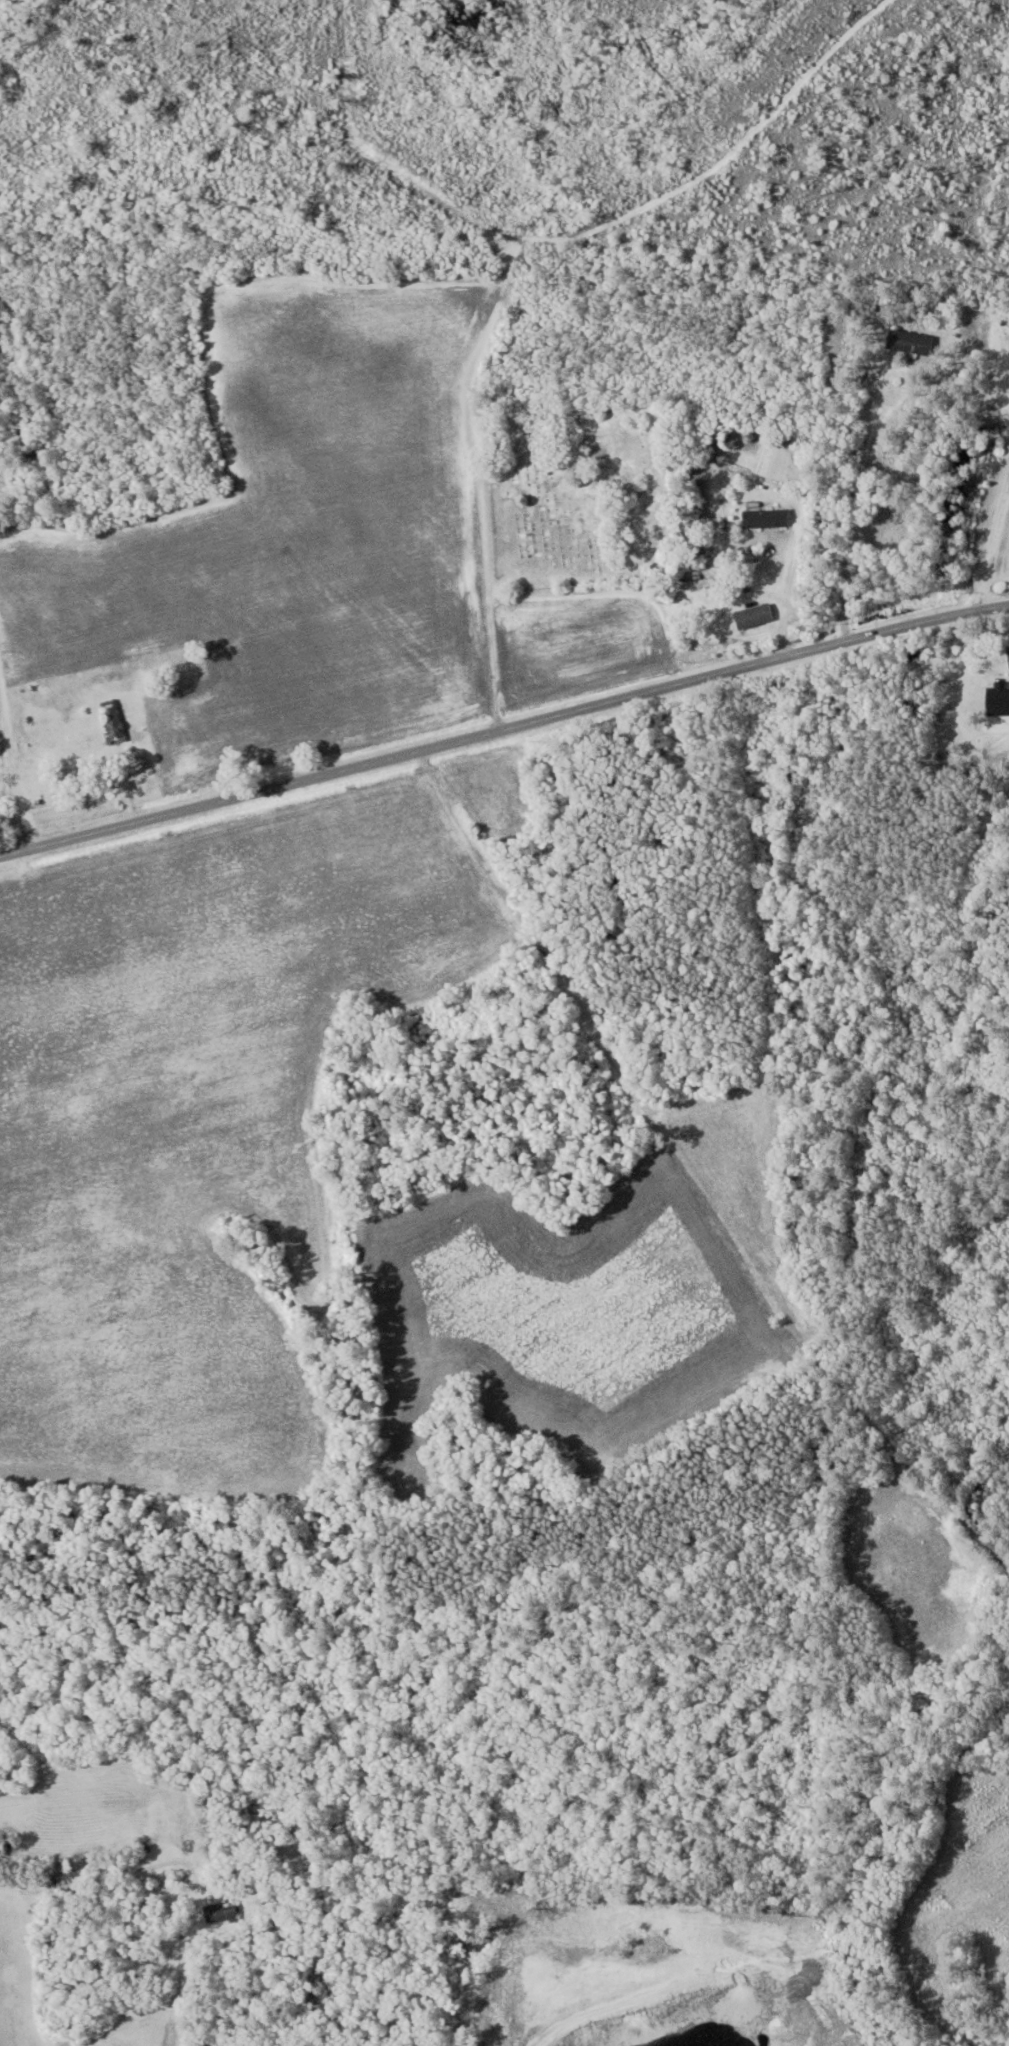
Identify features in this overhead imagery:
building: (911, 341)
road: (1001, 380)
road: (864, 461)
road: (753, 497)
building: (767, 518)
road: (987, 530)
building: (696, 584)
building: (754, 616)
building: (995, 661)
building: (112, 721)
road: (503, 726)
road: (27, 748)
building: (221, 1911)
building: (170, 2033)

